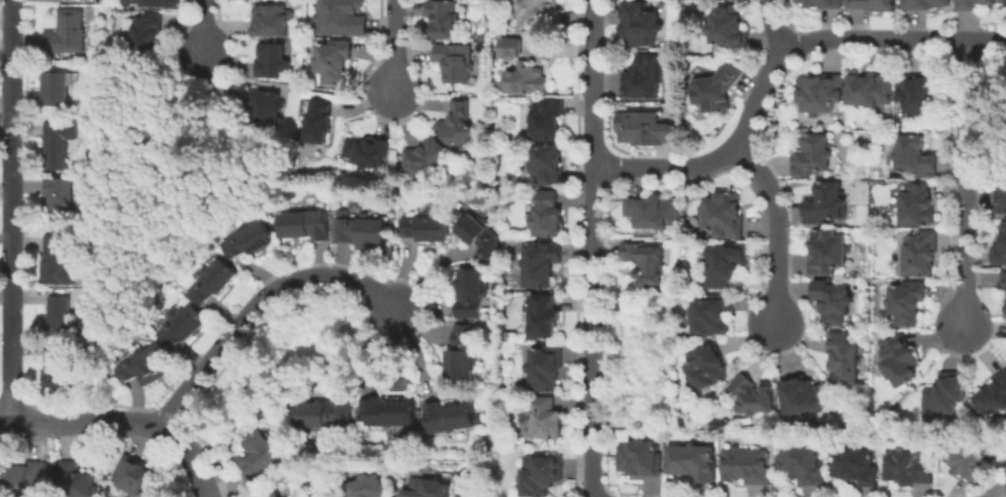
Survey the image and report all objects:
building: (99, 0)
building: (160, 3)
building: (820, 4)
building: (924, 4)
building: (976, 4)
building: (872, 5)
building: (103, 7)
building: (538, 14)
building: (339, 17)
building: (441, 18)
building: (270, 19)
building: (638, 24)
building: (726, 26)
road: (775, 26)
road: (203, 28)
building: (69, 33)
building: (150, 35)
building: (542, 37)
road: (395, 45)
building: (509, 47)
building: (270, 60)
building: (331, 60)
building: (454, 61)
road: (773, 65)
building: (643, 76)
building: (524, 78)
road: (297, 87)
building: (60, 88)
building: (714, 88)
building: (869, 89)
building: (819, 93)
building: (920, 93)
building: (263, 107)
building: (545, 119)
building: (317, 120)
building: (455, 125)
building: (645, 128)
building: (60, 143)
building: (367, 150)
building: (812, 154)
building: (424, 156)
building: (914, 156)
building: (545, 163)
building: (877, 173)
building: (493, 179)
road: (963, 184)
building: (1000, 193)
building: (62, 200)
building: (824, 202)
building: (916, 204)
road: (11, 211)
building: (458, 211)
building: (651, 213)
building: (545, 214)
building: (722, 214)
building: (304, 224)
building: (426, 225)
building: (361, 230)
road: (776, 231)
road: (131, 233)
building: (478, 235)
building: (248, 238)
building: (1000, 246)
road: (593, 248)
building: (825, 252)
building: (919, 252)
building: (59, 259)
building: (539, 262)
building: (643, 262)
building: (724, 263)
building: (1003, 279)
building: (212, 282)
building: (496, 283)
building: (470, 292)
building: (831, 300)
building: (906, 302)
road: (258, 304)
building: (1005, 308)
building: (711, 314)
building: (62, 315)
building: (541, 315)
building: (180, 325)
building: (508, 335)
building: (460, 353)
building: (897, 357)
building: (842, 358)
building: (144, 365)
building: (543, 367)
building: (705, 367)
building: (58, 368)
building: (943, 395)
building: (993, 395)
building: (751, 396)
building: (802, 396)
building: (387, 411)
building: (323, 416)
building: (450, 416)
building: (541, 419)
road: (137, 420)
road: (5, 422)
road: (58, 422)
building: (259, 453)
road: (194, 456)
building: (638, 458)
building: (966, 458)
building: (691, 462)
building: (745, 465)
building: (801, 465)
building: (856, 465)
building: (1004, 465)
building: (908, 467)
building: (30, 474)
building: (540, 475)
building: (136, 476)
building: (78, 481)
building: (366, 486)
building: (426, 488)
building: (267, 494)

